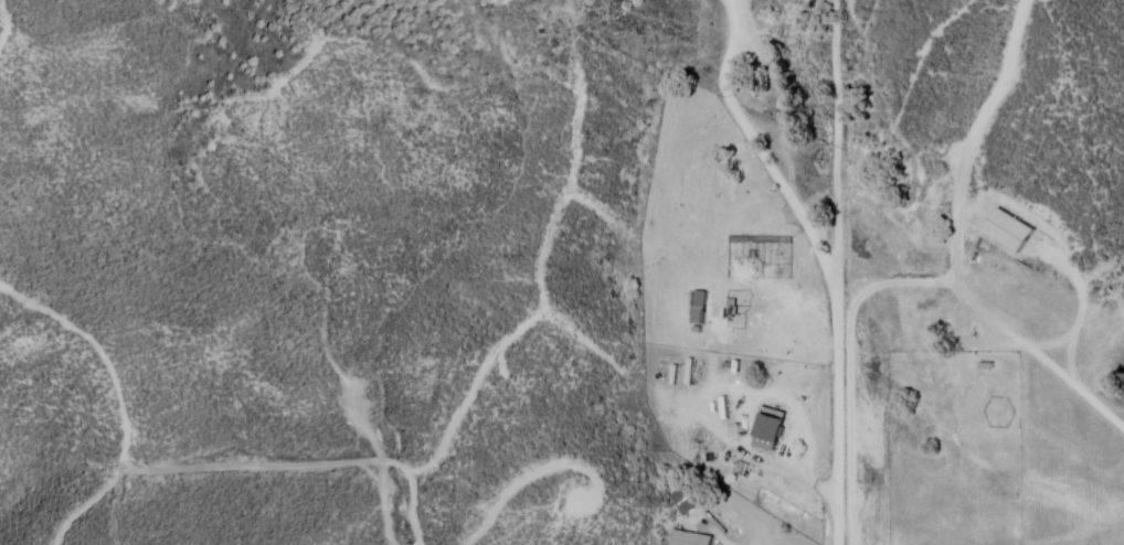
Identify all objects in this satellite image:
road: (836, 142)
building: (1009, 231)
road: (821, 261)
road: (927, 282)
building: (699, 307)
building: (765, 442)
building: (685, 502)
building: (690, 538)

